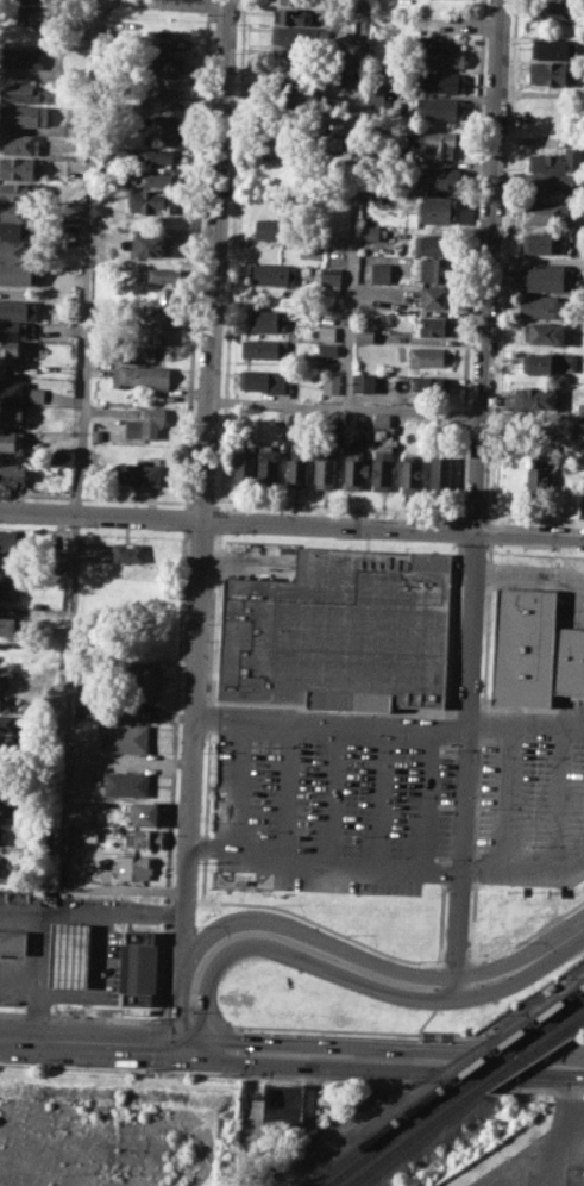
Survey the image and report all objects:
road: (193, 2)
building: (296, 2)
road: (208, 6)
building: (561, 10)
building: (38, 14)
building: (294, 15)
building: (291, 36)
building: (167, 39)
building: (554, 49)
building: (438, 52)
building: (285, 56)
building: (23, 57)
building: (346, 57)
building: (165, 67)
building: (552, 73)
building: (288, 77)
building: (346, 77)
building: (69, 79)
building: (442, 81)
building: (24, 92)
building: (375, 94)
building: (162, 98)
building: (439, 107)
building: (24, 114)
building: (334, 124)
building: (74, 127)
building: (164, 130)
building: (440, 143)
building: (19, 144)
building: (276, 144)
building: (155, 156)
building: (555, 160)
building: (21, 168)
building: (441, 177)
building: (155, 180)
building: (554, 183)
building: (20, 192)
building: (149, 201)
building: (438, 208)
building: (13, 211)
building: (547, 212)
building: (274, 227)
building: (15, 230)
building: (371, 232)
building: (542, 242)
building: (151, 244)
building: (434, 244)
building: (15, 250)
road: (231, 255)
road: (195, 258)
road: (353, 269)
building: (437, 269)
building: (381, 273)
building: (18, 274)
building: (272, 274)
building: (159, 276)
building: (544, 276)
building: (332, 279)
building: (435, 296)
building: (541, 305)
building: (18, 310)
building: (268, 320)
building: (162, 325)
building: (434, 325)
building: (13, 330)
building: (329, 332)
building: (365, 333)
building: (548, 333)
building: (264, 348)
building: (327, 349)
building: (12, 351)
building: (134, 355)
building: (428, 355)
building: (541, 362)
building: (142, 377)
building: (263, 380)
building: (369, 381)
building: (332, 382)
building: (432, 386)
building: (11, 391)
building: (36, 394)
building: (536, 397)
road: (277, 402)
building: (580, 406)
building: (11, 414)
road: (532, 416)
building: (382, 420)
building: (146, 423)
building: (535, 432)
building: (96, 433)
road: (479, 436)
building: (11, 441)
building: (244, 464)
building: (269, 466)
building: (382, 467)
building: (296, 468)
building: (325, 468)
building: (354, 469)
building: (13, 473)
building: (137, 473)
building: (410, 473)
building: (440, 473)
building: (538, 474)
road: (202, 488)
road: (95, 497)
road: (201, 503)
road: (75, 506)
road: (338, 508)
road: (475, 516)
road: (183, 517)
road: (534, 518)
road: (218, 519)
road: (291, 523)
building: (11, 539)
building: (128, 553)
building: (57, 560)
road: (533, 575)
building: (7, 587)
building: (10, 626)
building: (341, 630)
building: (534, 649)
building: (5, 682)
building: (144, 683)
building: (5, 703)
road: (209, 714)
road: (207, 720)
building: (12, 723)
road: (527, 723)
road: (346, 725)
building: (126, 736)
building: (7, 744)
building: (126, 784)
road: (237, 794)
road: (284, 795)
road: (331, 797)
road: (378, 798)
road: (507, 798)
parking lot: (529, 798)
road: (425, 799)
road: (557, 800)
parking lot: (332, 801)
building: (0, 809)
building: (146, 812)
building: (1, 835)
building: (92, 835)
building: (143, 838)
road: (200, 844)
road: (168, 853)
building: (0, 863)
building: (133, 867)
road: (312, 867)
road: (441, 872)
road: (482, 872)
road: (545, 874)
road: (170, 901)
road: (183, 901)
road: (21, 915)
road: (142, 915)
road: (272, 920)
road: (319, 924)
road: (458, 928)
road: (529, 935)
building: (14, 942)
road: (289, 951)
building: (68, 955)
gas station: (68, 955)
road: (456, 962)
road: (522, 966)
building: (138, 967)
road: (20, 987)
road: (98, 988)
railway: (548, 1010)
road: (39, 1015)
railway: (557, 1017)
railway: (558, 1019)
railway: (567, 1025)
railway: (525, 1041)
railway: (525, 1041)
road: (94, 1043)
traffic signals: (188, 1050)
road: (385, 1059)
railway: (475, 1062)
railway: (511, 1065)
railway: (486, 1068)
road: (565, 1091)
building: (282, 1106)
road: (576, 1116)
railway: (371, 1137)
railway: (389, 1137)
railway: (409, 1137)
road: (202, 1140)
road: (538, 1144)
building: (576, 1176)

